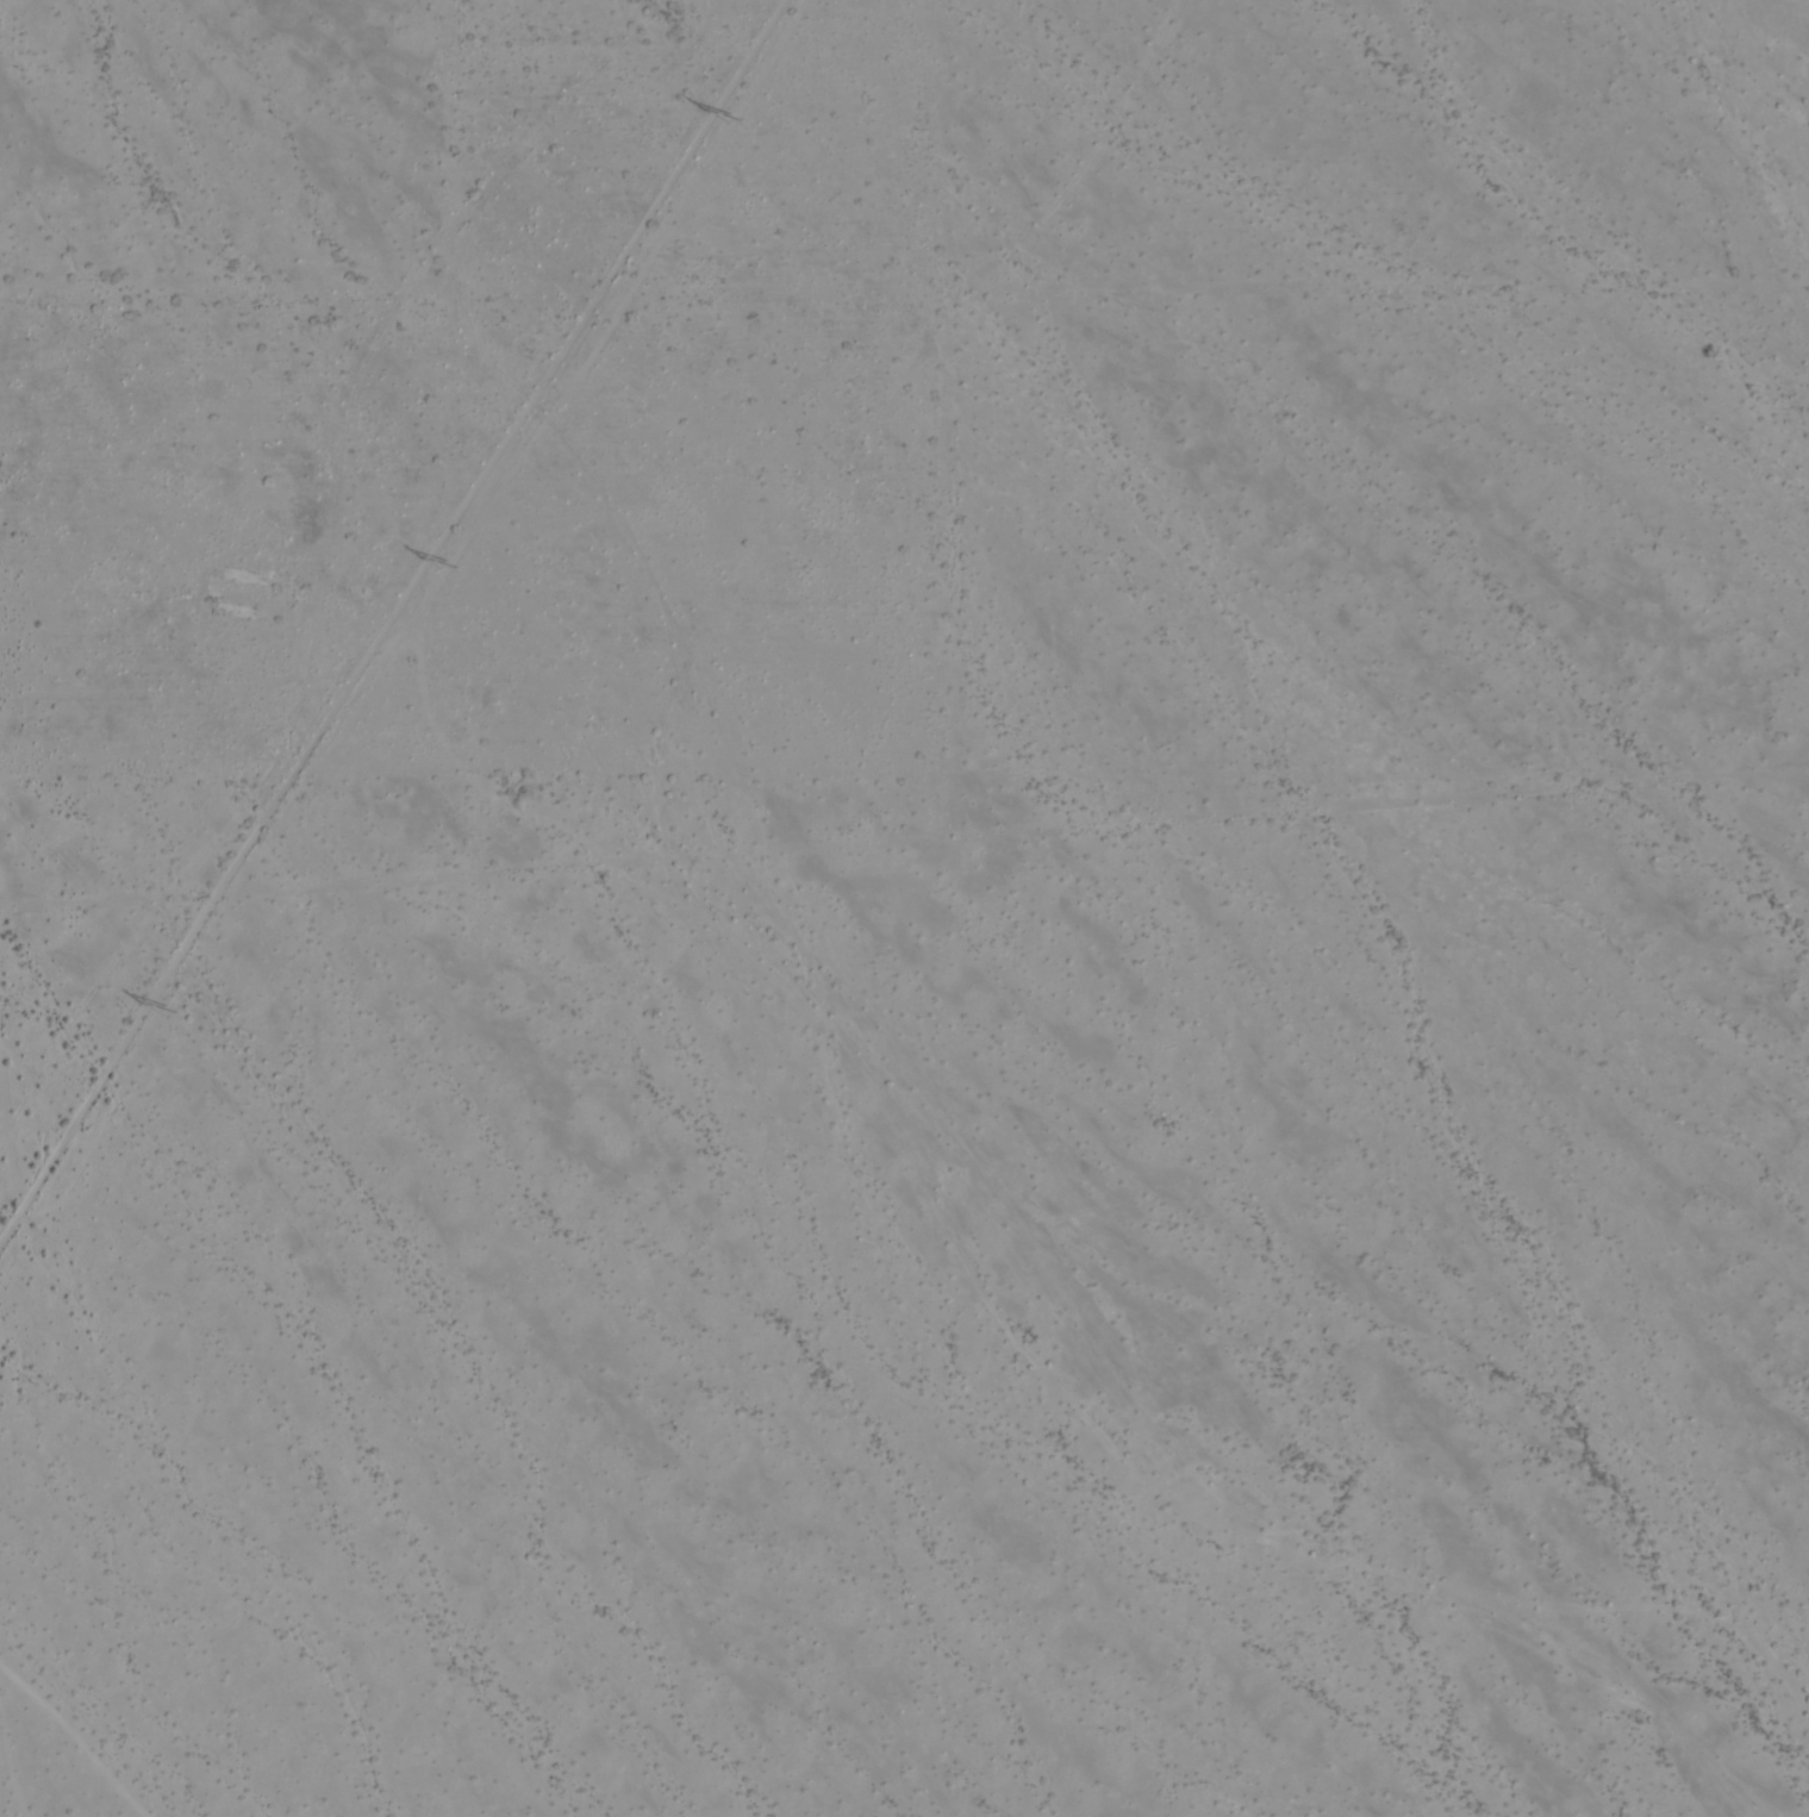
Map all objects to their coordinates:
power tower: (737, 119)
road: (468, 268)
road: (640, 276)
road: (927, 401)
road: (481, 430)
power tower: (459, 570)
road: (735, 830)
power tower: (176, 1007)

